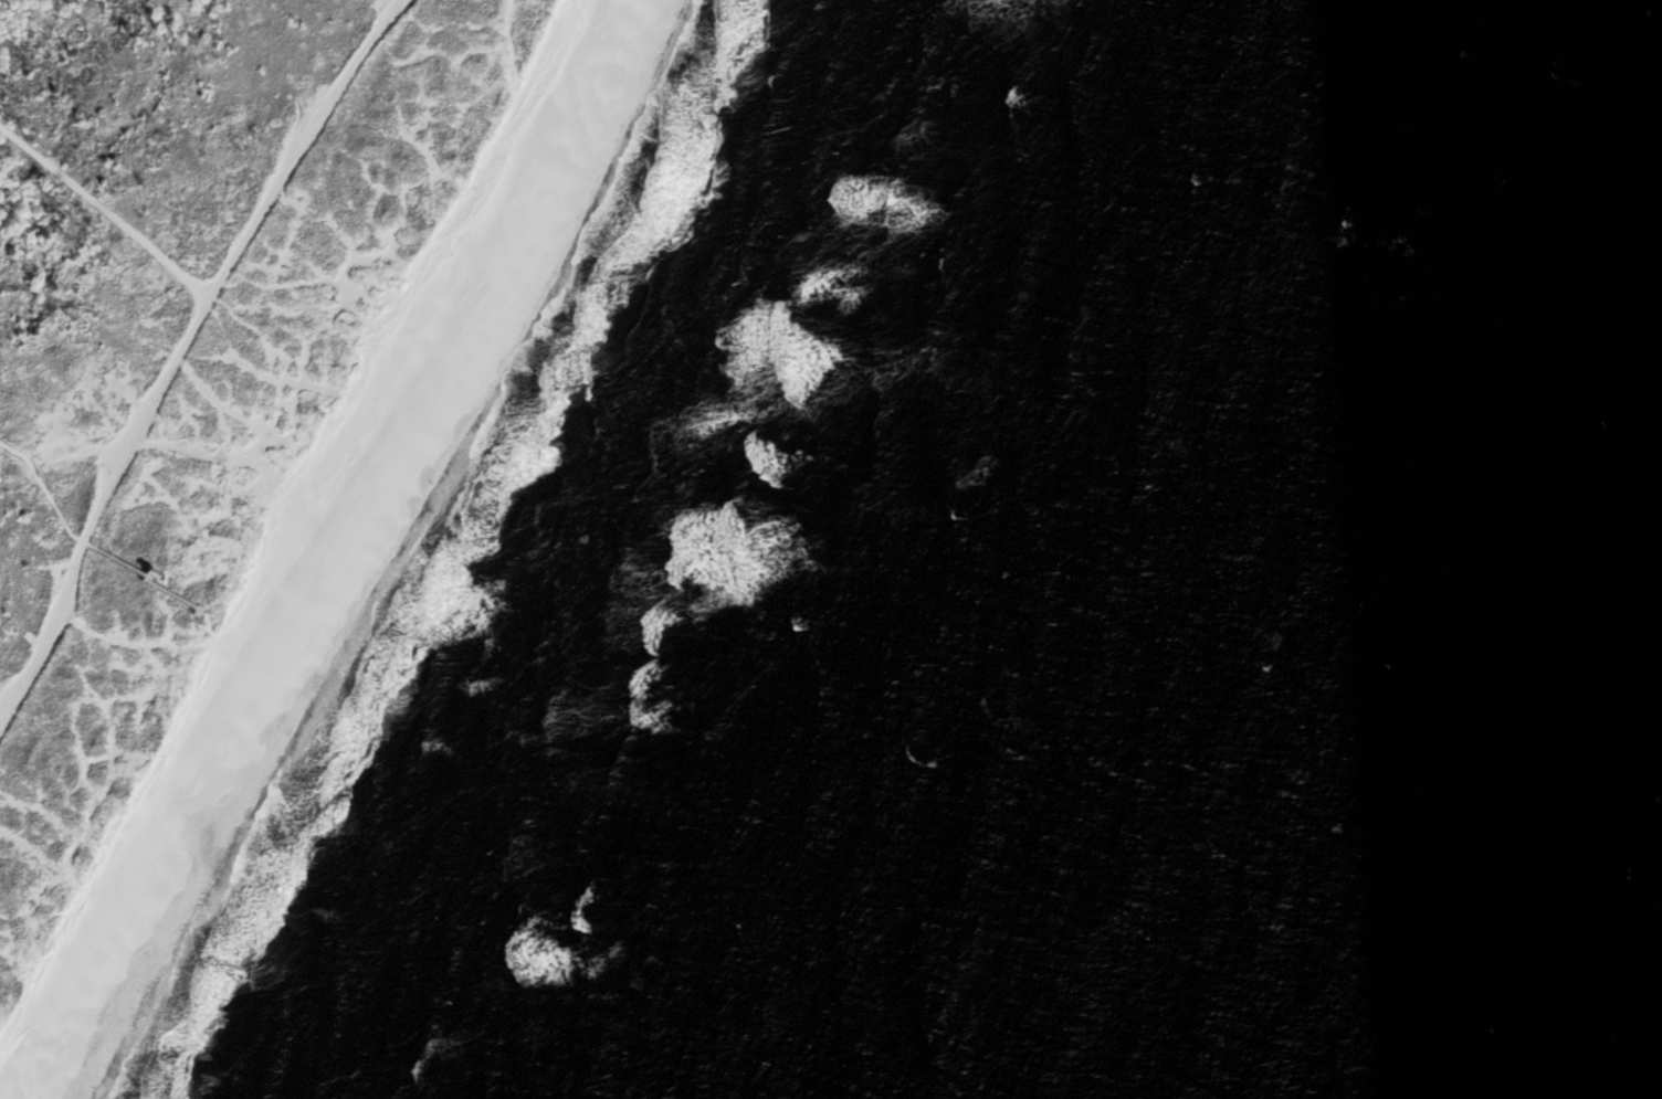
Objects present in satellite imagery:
road: (107, 211)
road: (180, 353)
road: (87, 546)
building: (155, 572)
road: (14, 954)

